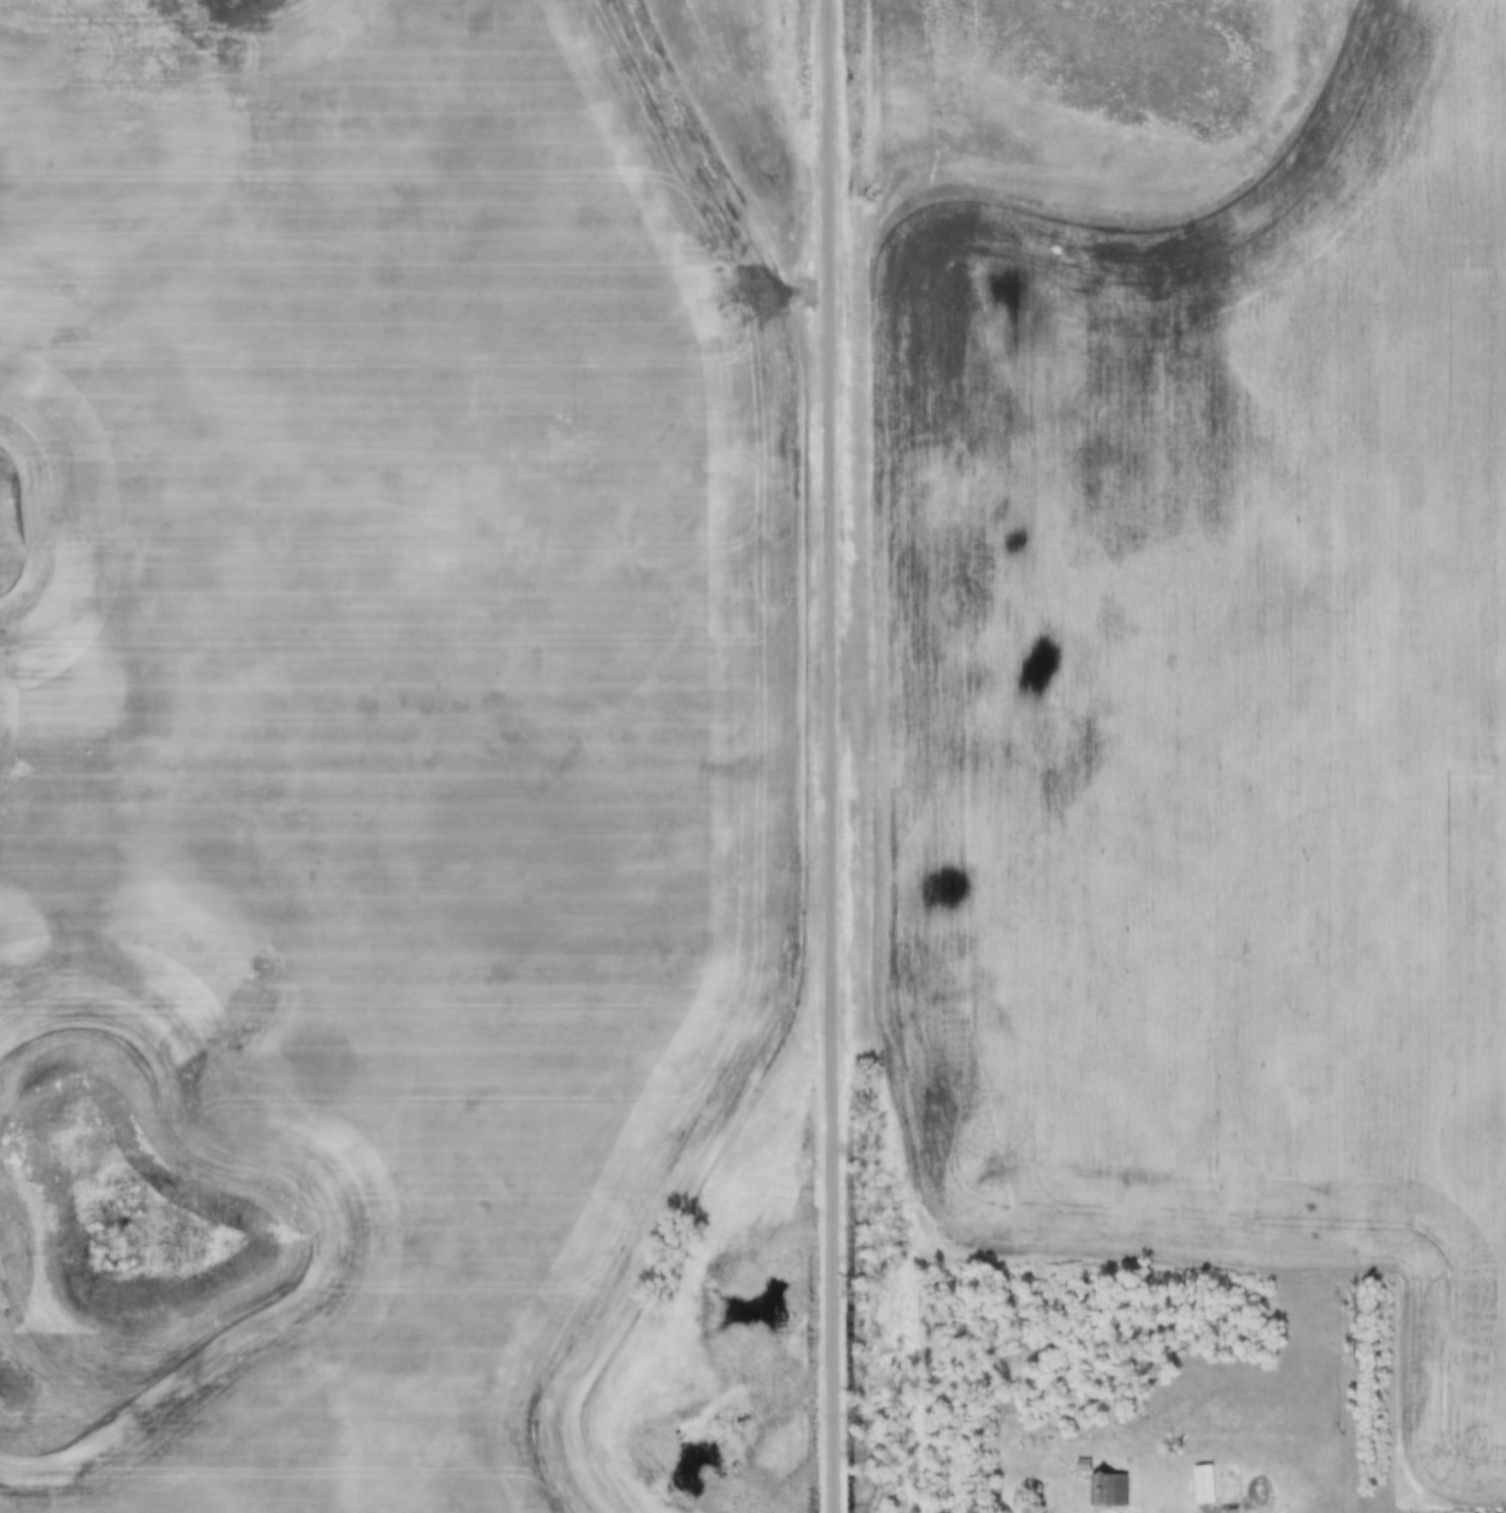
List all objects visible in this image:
road: (831, 756)
building: (1204, 1485)
building: (1109, 1491)

